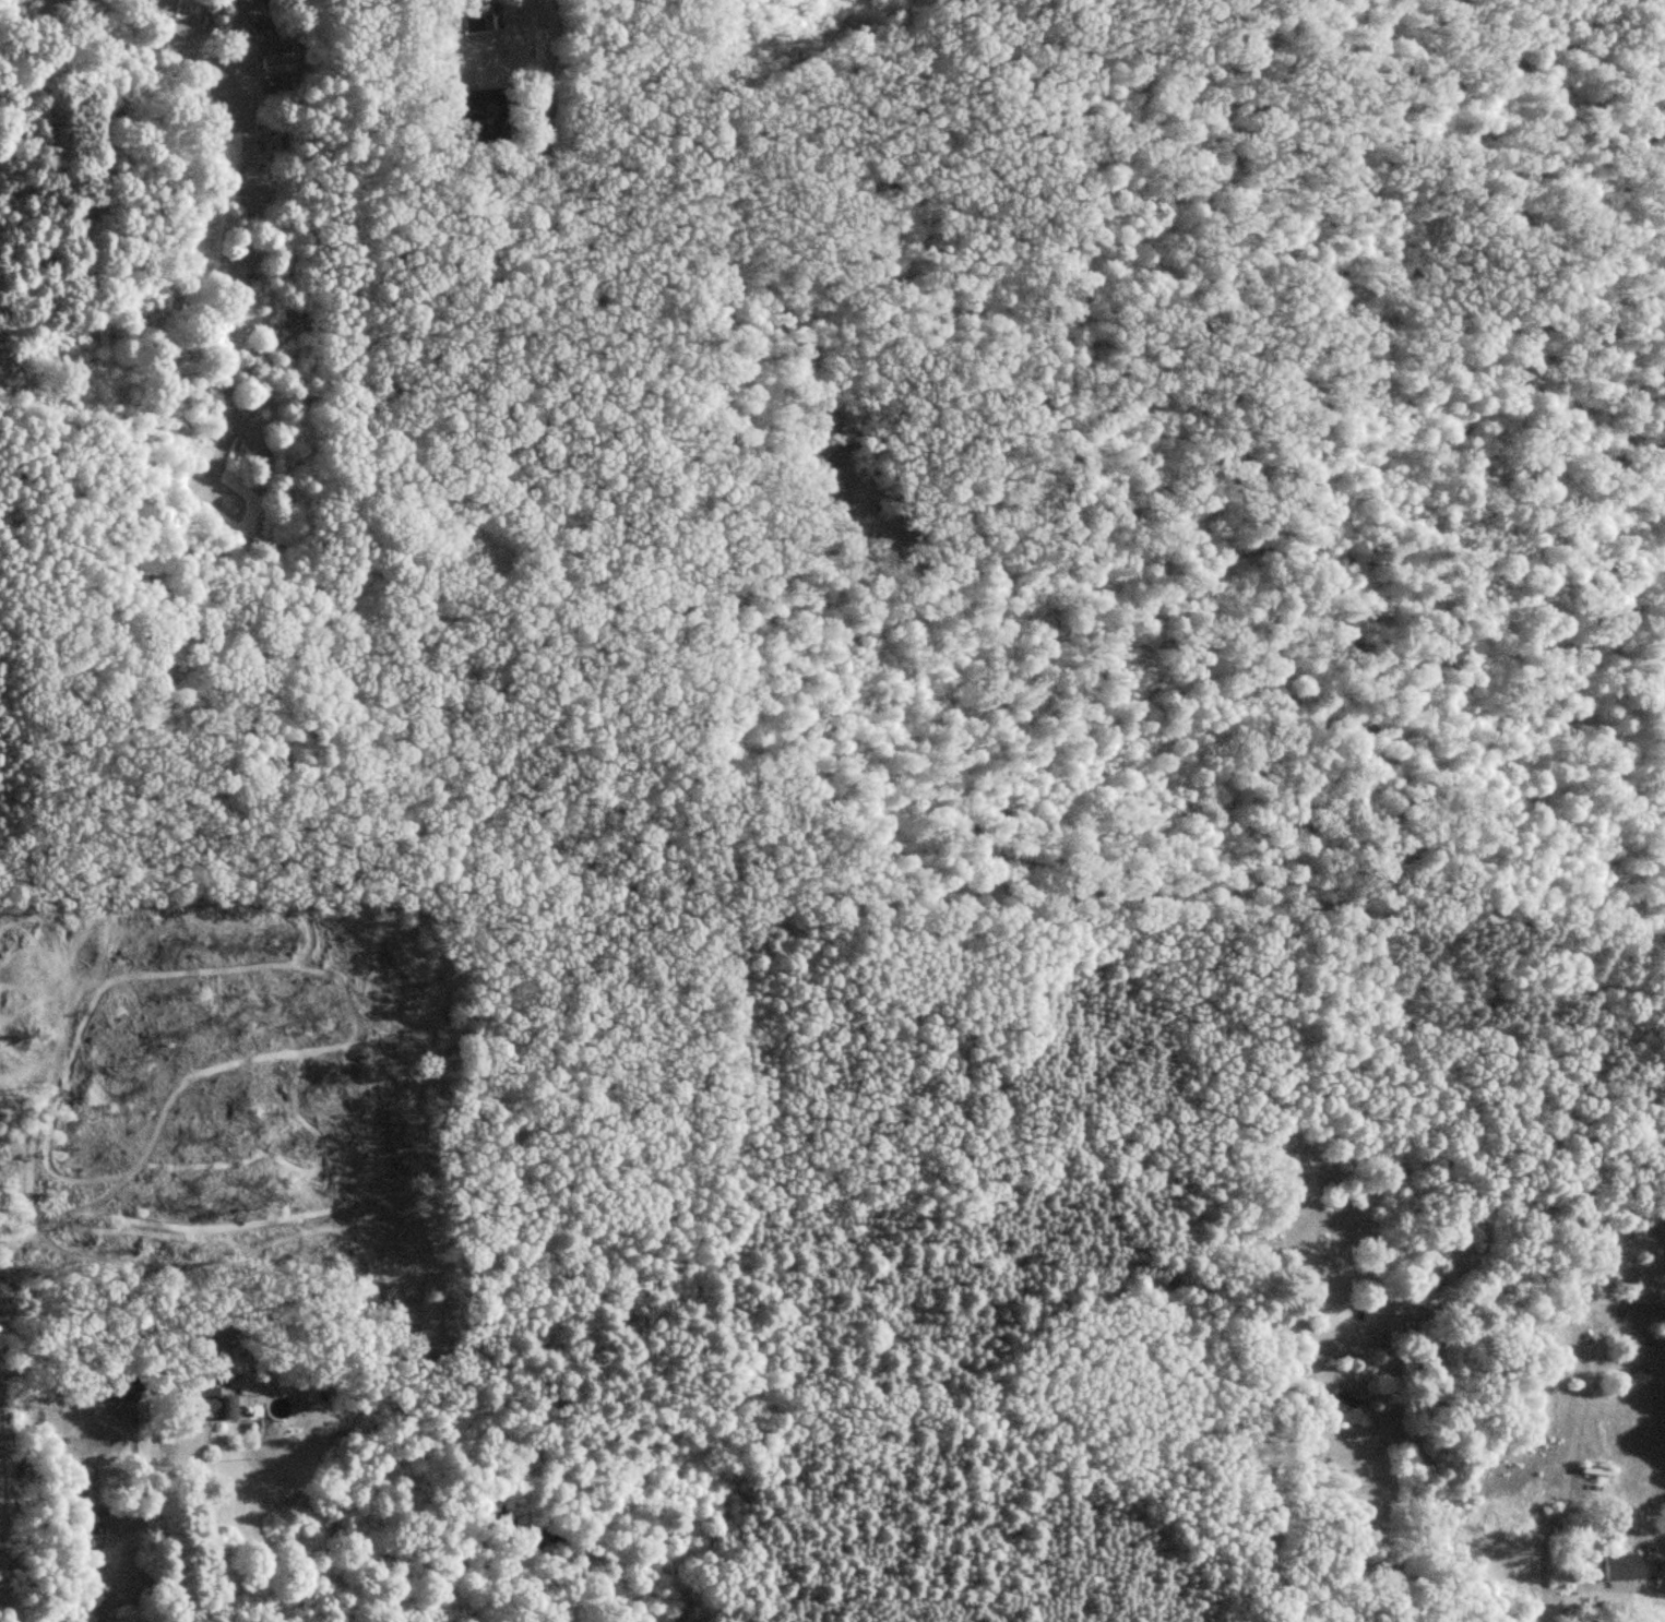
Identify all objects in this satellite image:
building: (269, 4)
building: (483, 17)
building: (277, 63)
building: (481, 115)
building: (393, 116)
building: (126, 1393)
building: (209, 1404)
building: (1340, 1408)
road: (162, 1515)
road: (1283, 1525)
building: (1625, 1567)
road: (1599, 1597)

